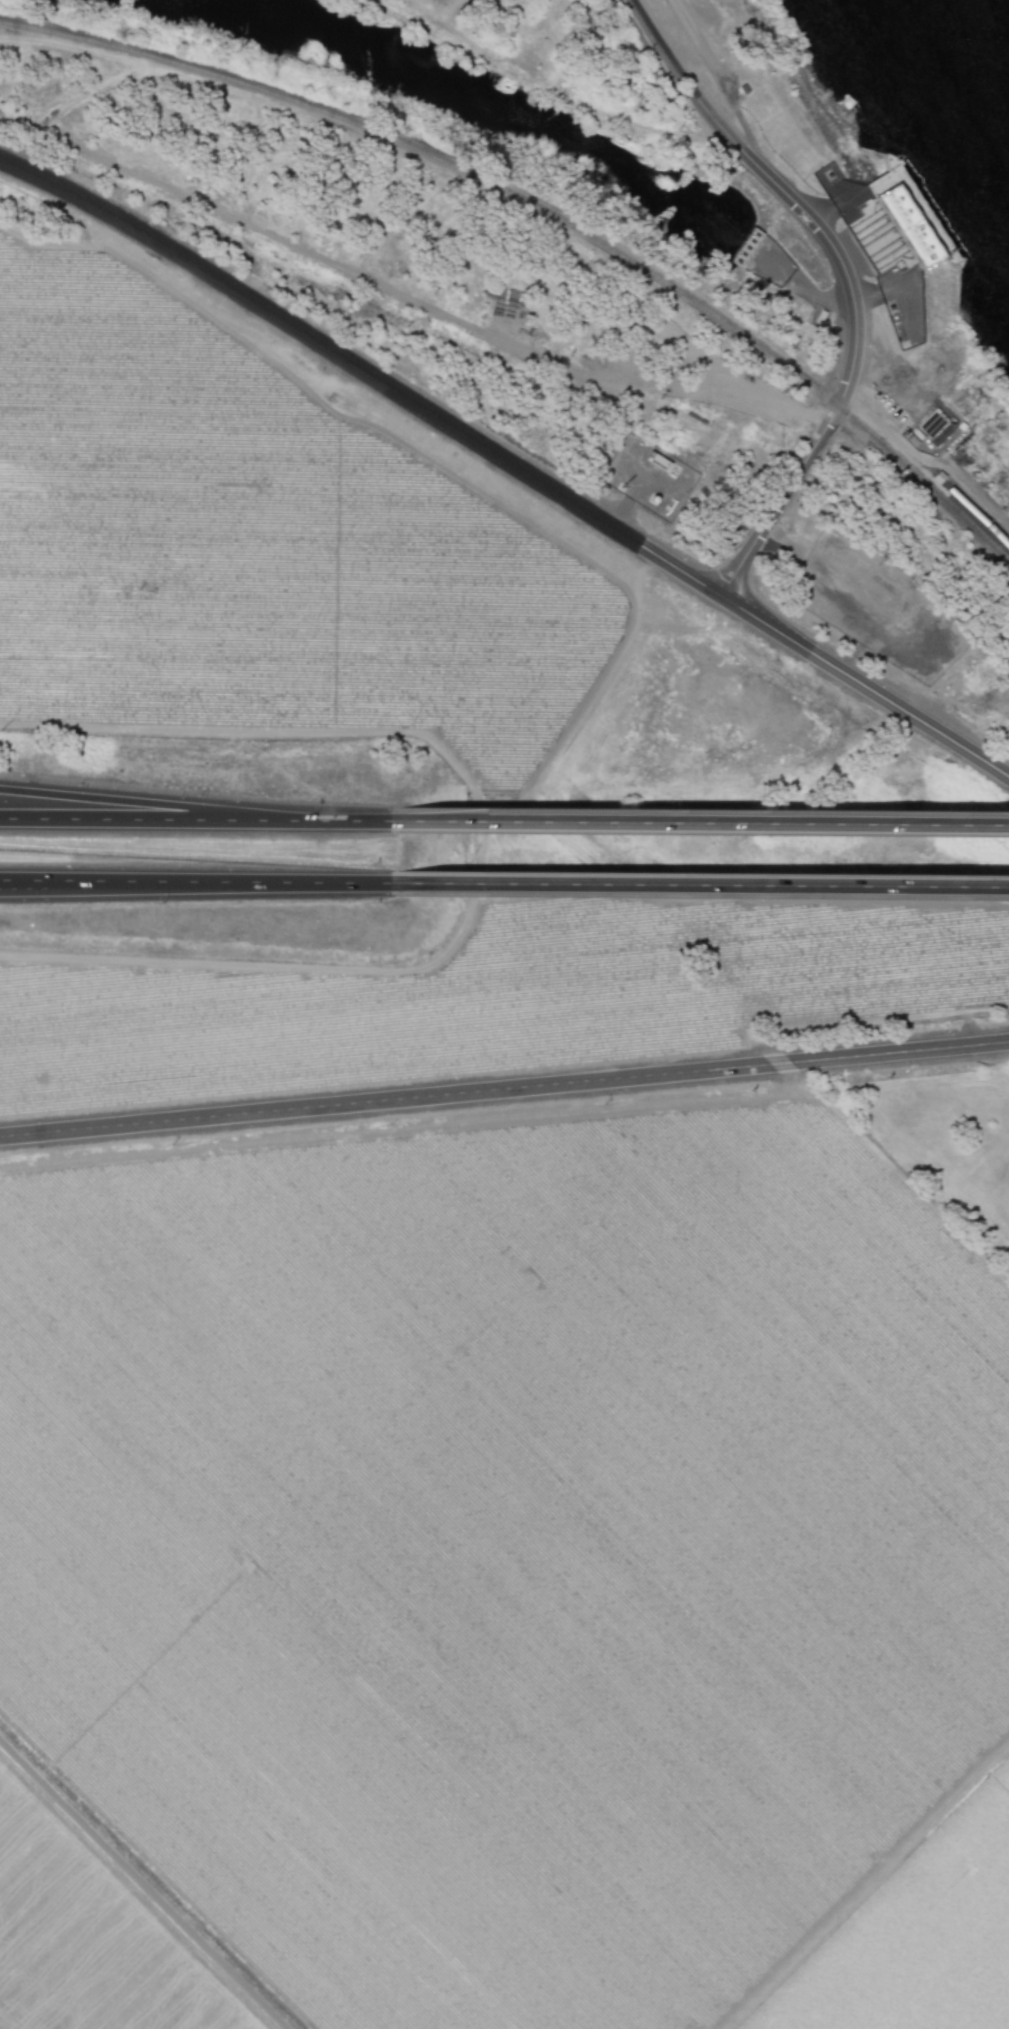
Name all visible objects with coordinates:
river: (998, 18)
road: (722, 86)
railway: (546, 214)
building: (900, 234)
building: (746, 247)
building: (761, 256)
road: (844, 279)
road: (879, 292)
road: (819, 296)
road: (860, 413)
road: (508, 463)
crop: (384, 730)
road: (131, 802)
road: (131, 821)
road: (330, 822)
road: (703, 824)
road: (197, 884)
road: (701, 888)
road: (504, 1090)
crop: (503, 1580)
road: (143, 1884)

